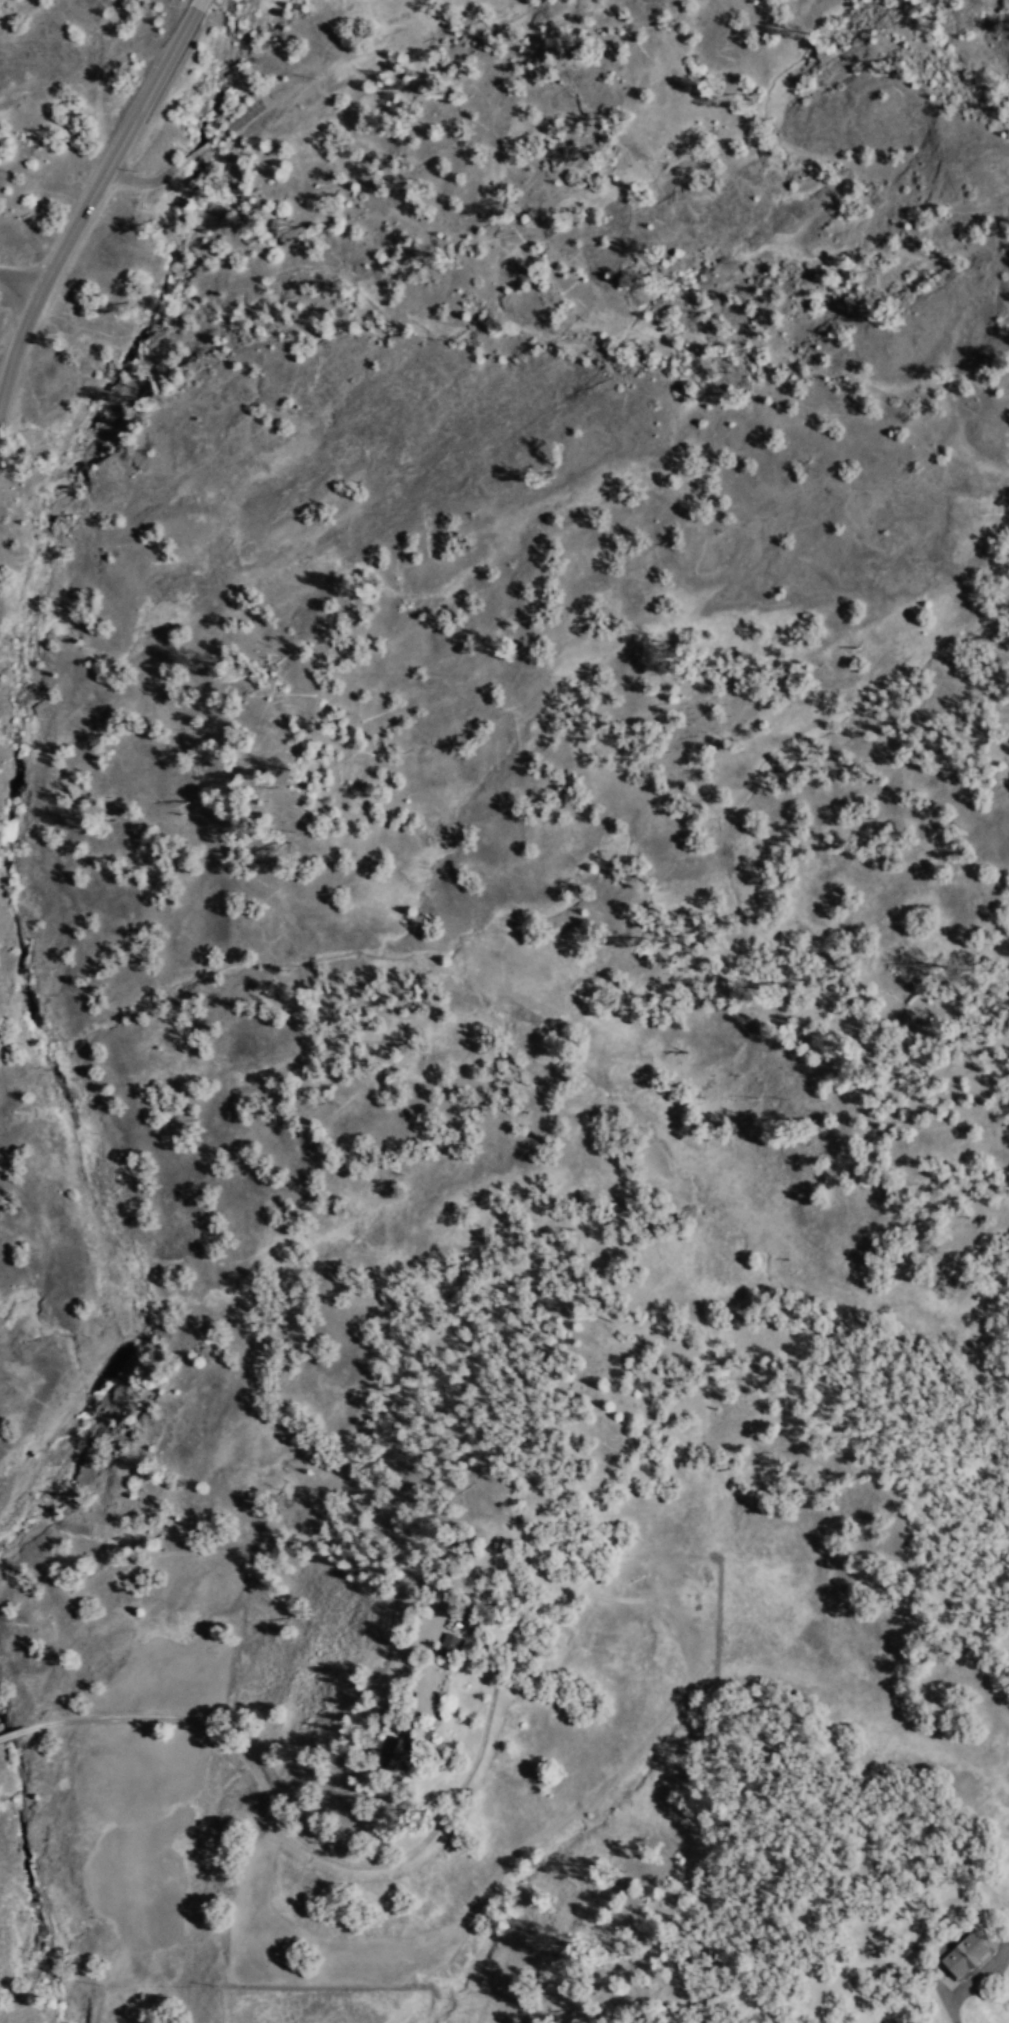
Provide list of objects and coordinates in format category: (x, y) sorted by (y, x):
road: (198, 3)
road: (119, 153)
river: (176, 231)
road: (18, 287)
road: (14, 352)
river: (13, 920)
building: (460, 1641)
building: (403, 1750)
road: (258, 1782)
building: (970, 1954)
road: (982, 1996)
road: (958, 2019)

